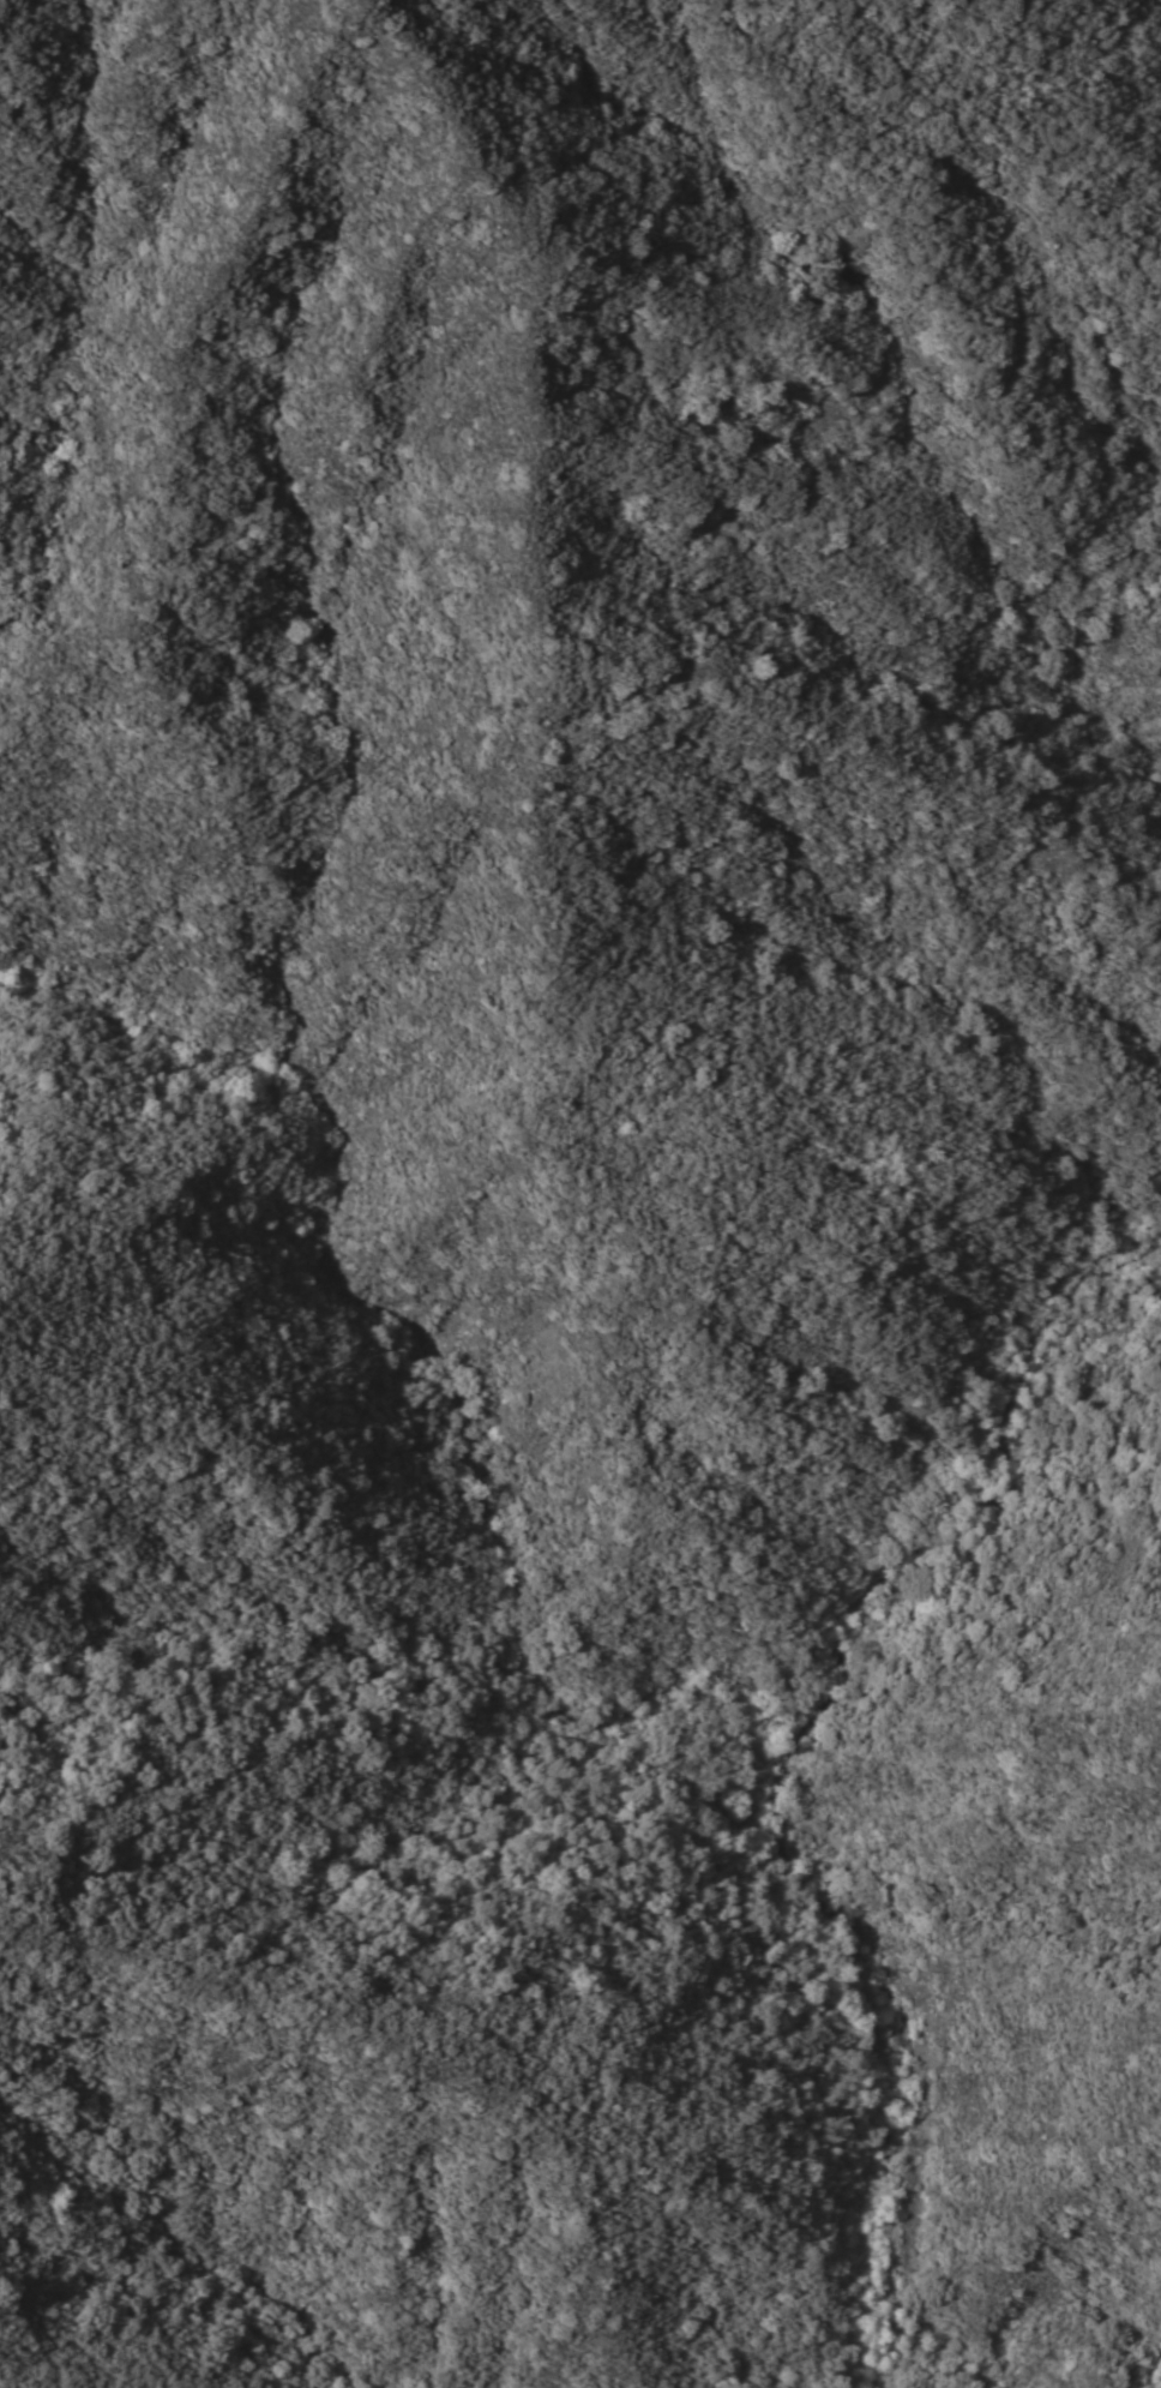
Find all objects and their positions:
road: (588, 679)

